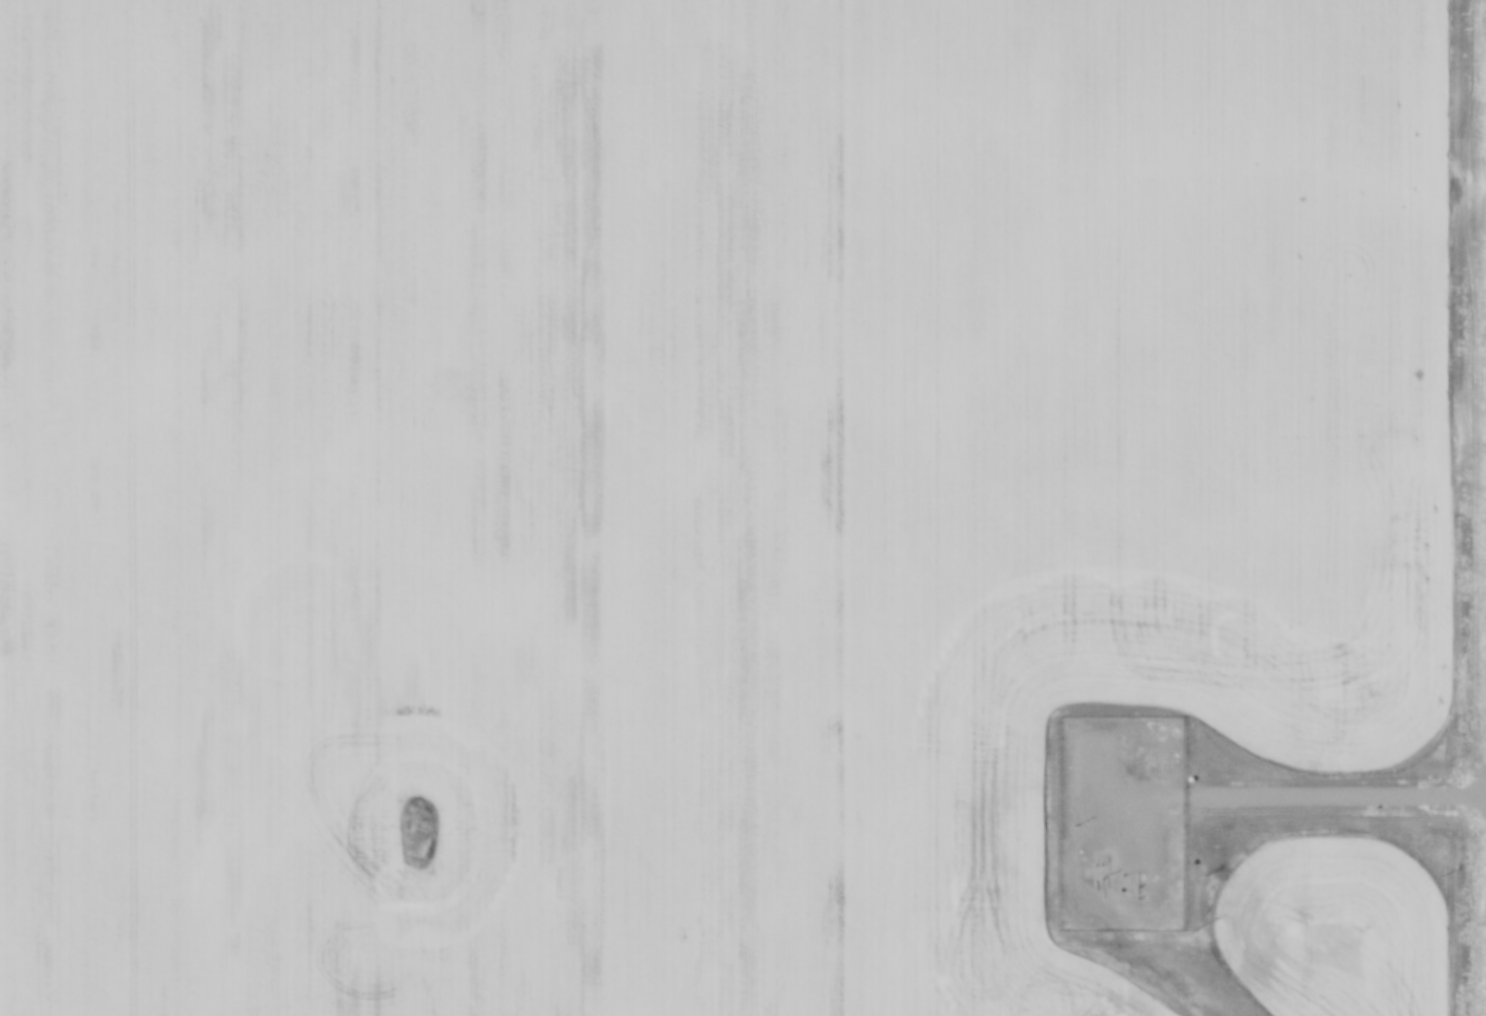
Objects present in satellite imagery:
road: (1337, 798)

